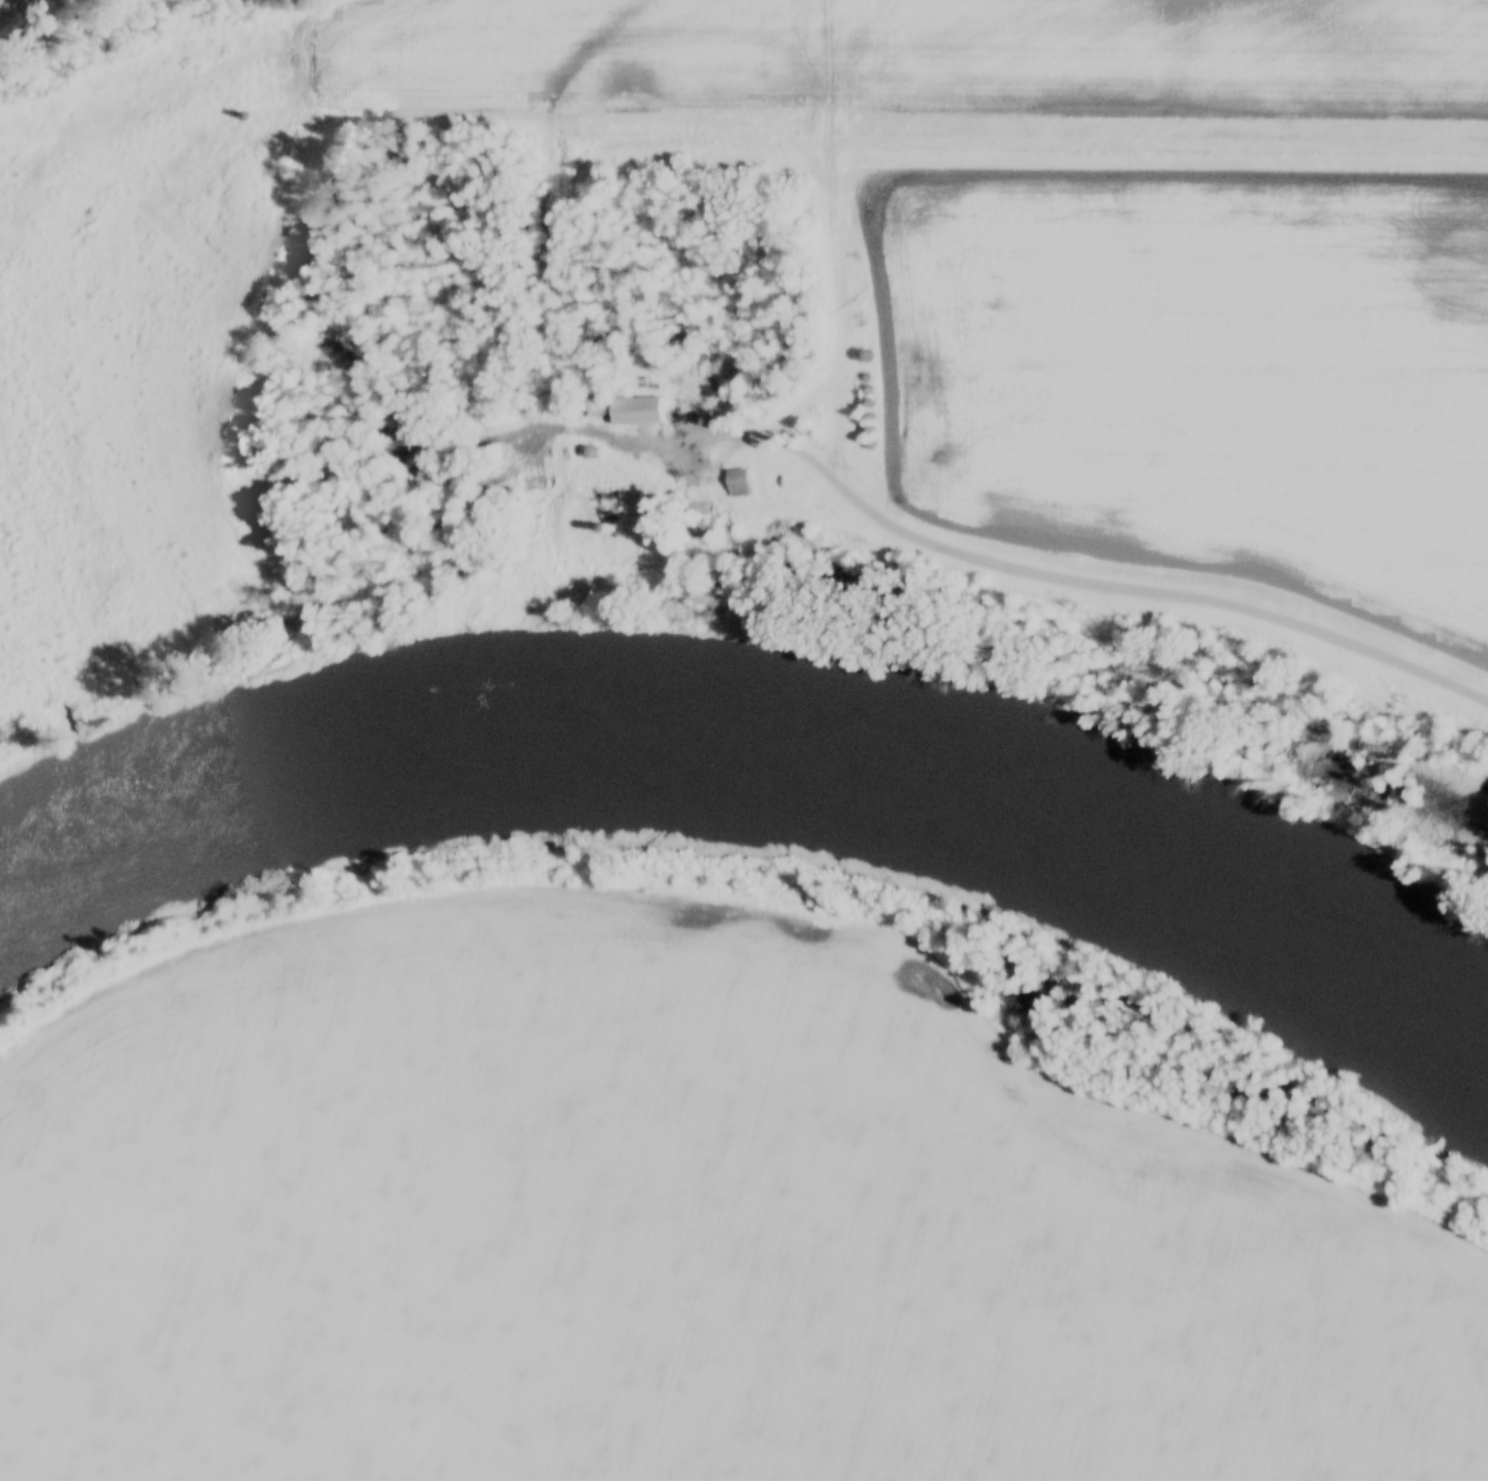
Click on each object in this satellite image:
road: (29, 134)
road: (897, 140)
road: (26, 148)
road: (831, 293)
road: (347, 359)
building: (645, 409)
road: (673, 463)
building: (742, 480)
building: (610, 504)
road: (1104, 584)
river: (751, 770)

